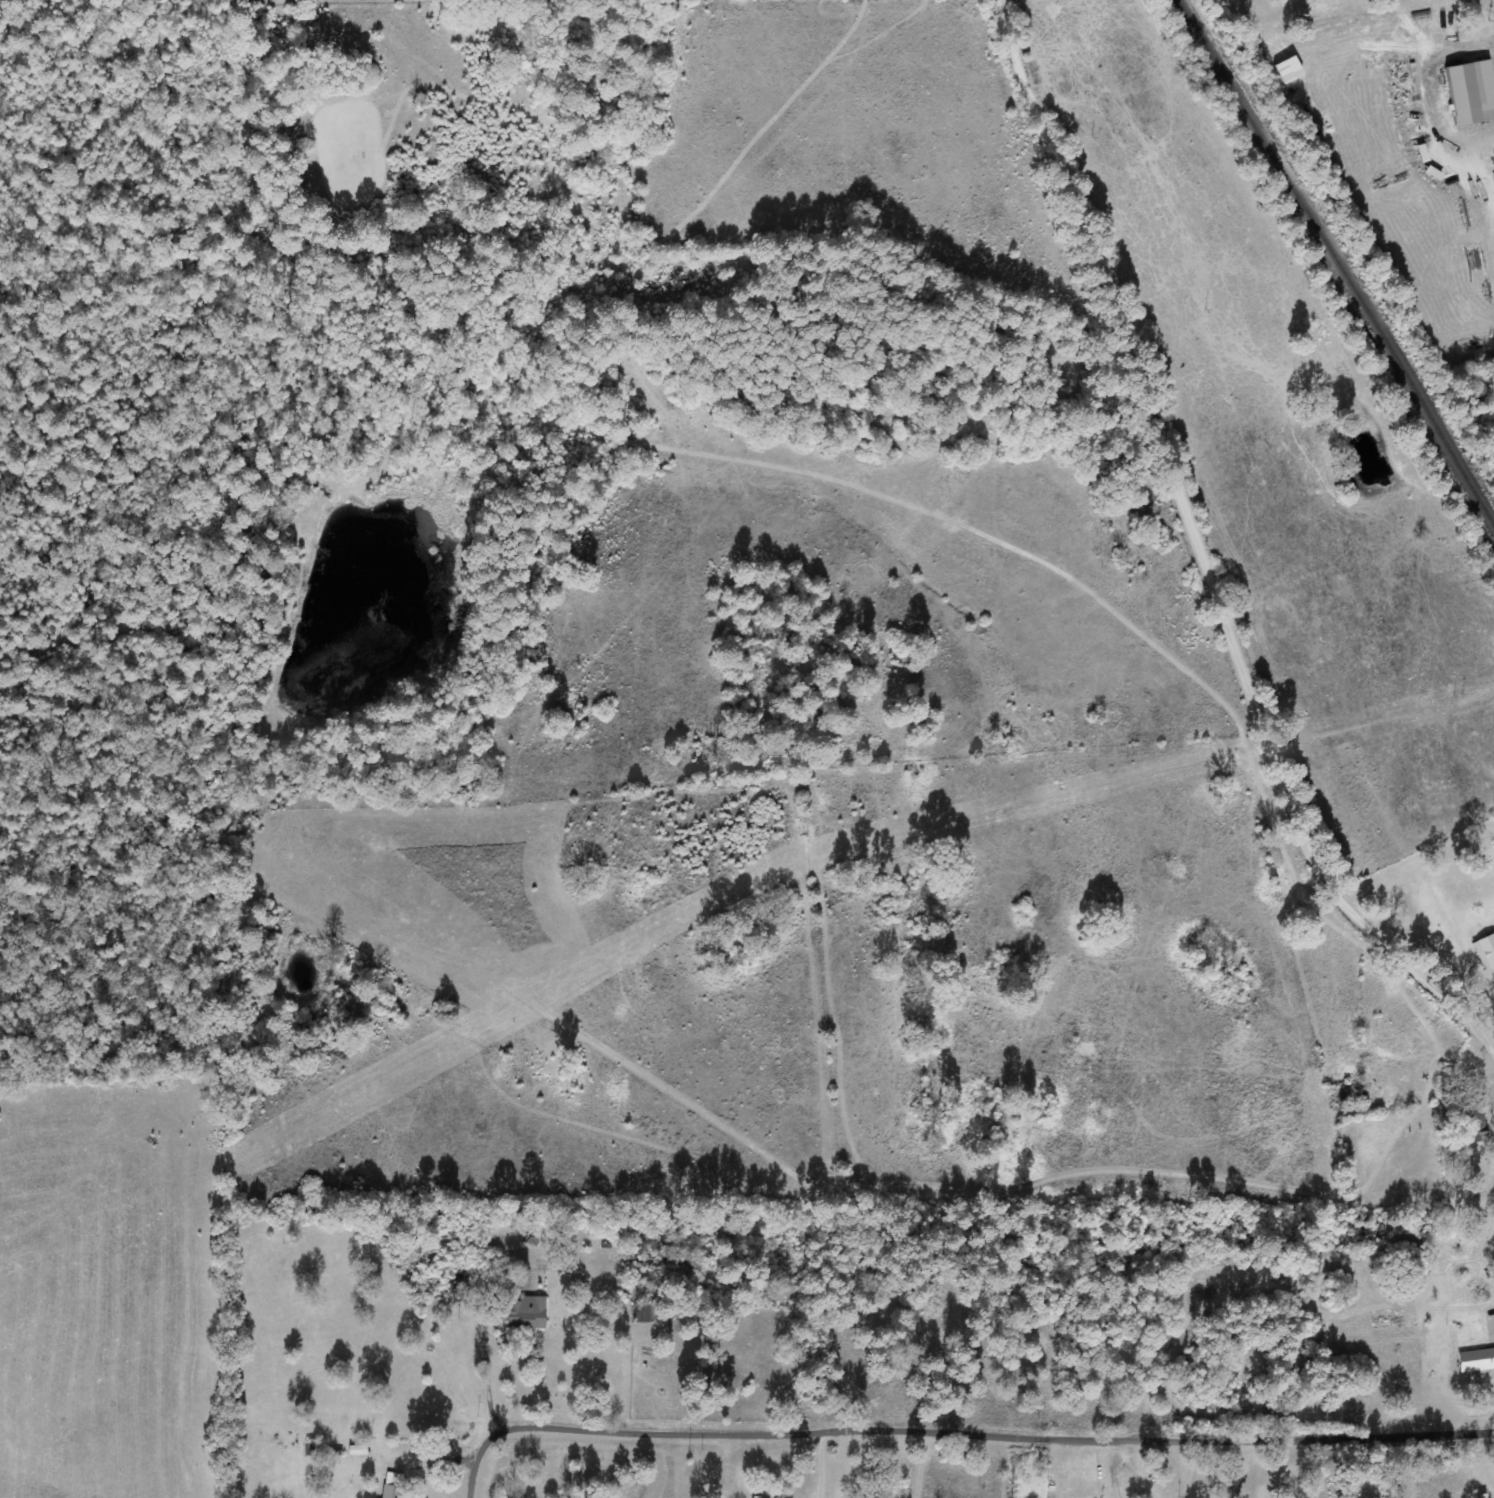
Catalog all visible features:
building: (1357, 25)
building: (1472, 93)
railway: (1335, 262)
road: (1202, 537)
building: (1485, 950)
building: (525, 1313)
building: (1477, 1360)
road: (957, 1413)
building: (357, 1450)
building: (392, 1491)

